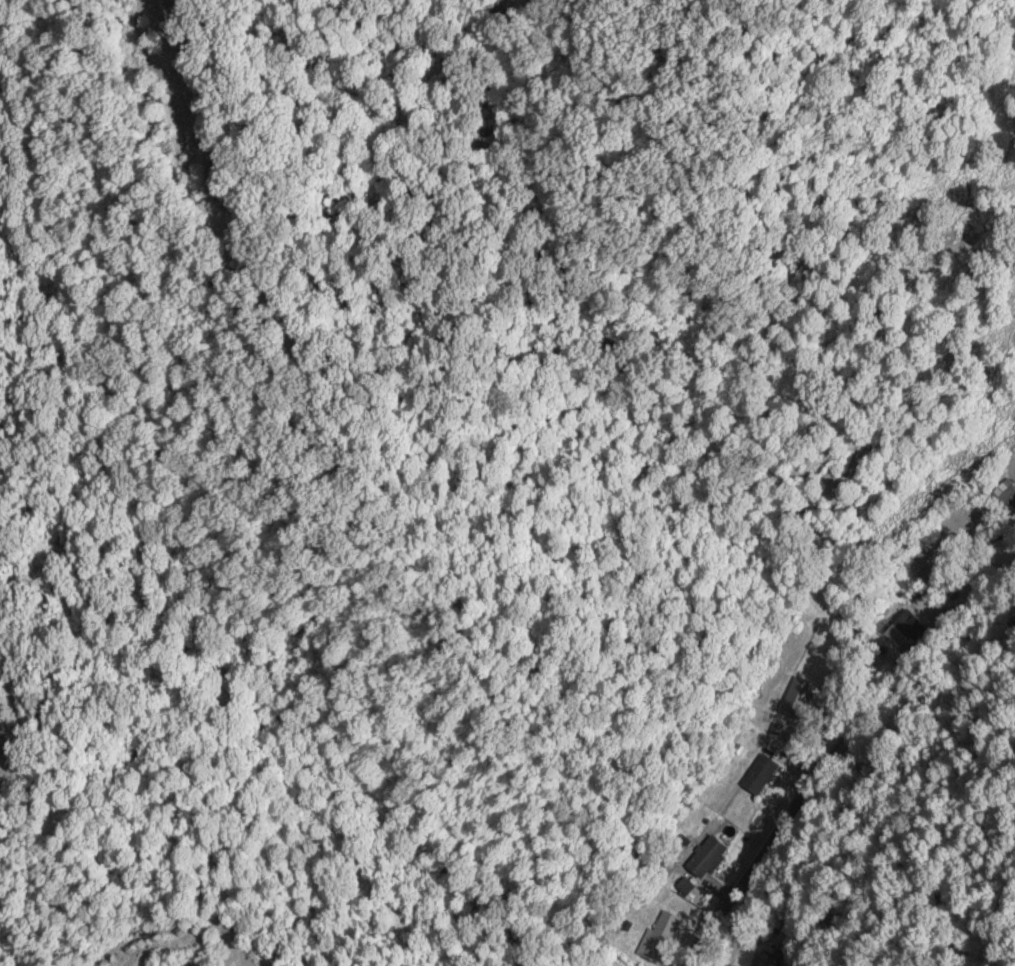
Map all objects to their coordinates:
building: (1004, 498)
road: (834, 752)
building: (758, 775)
building: (706, 857)
building: (657, 941)

